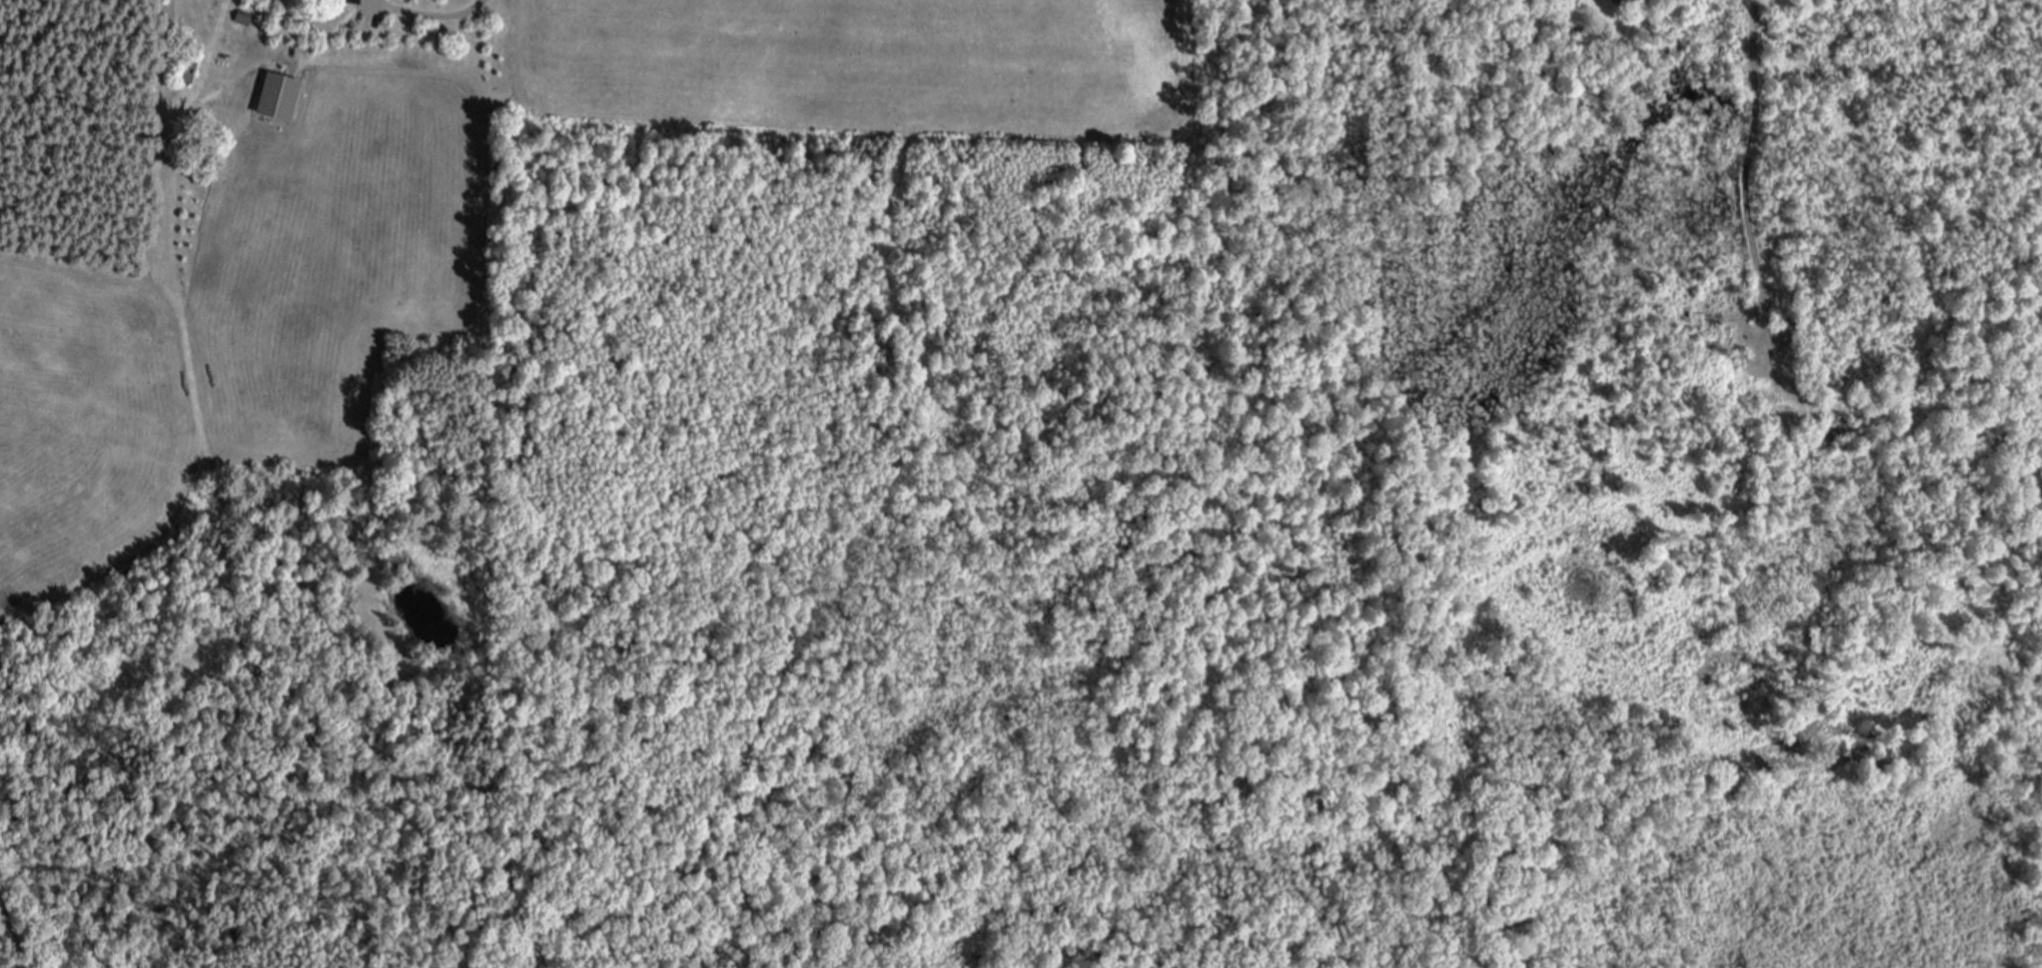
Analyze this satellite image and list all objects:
road: (431, 15)
building: (279, 94)
road: (1750, 150)
building: (1732, 357)

